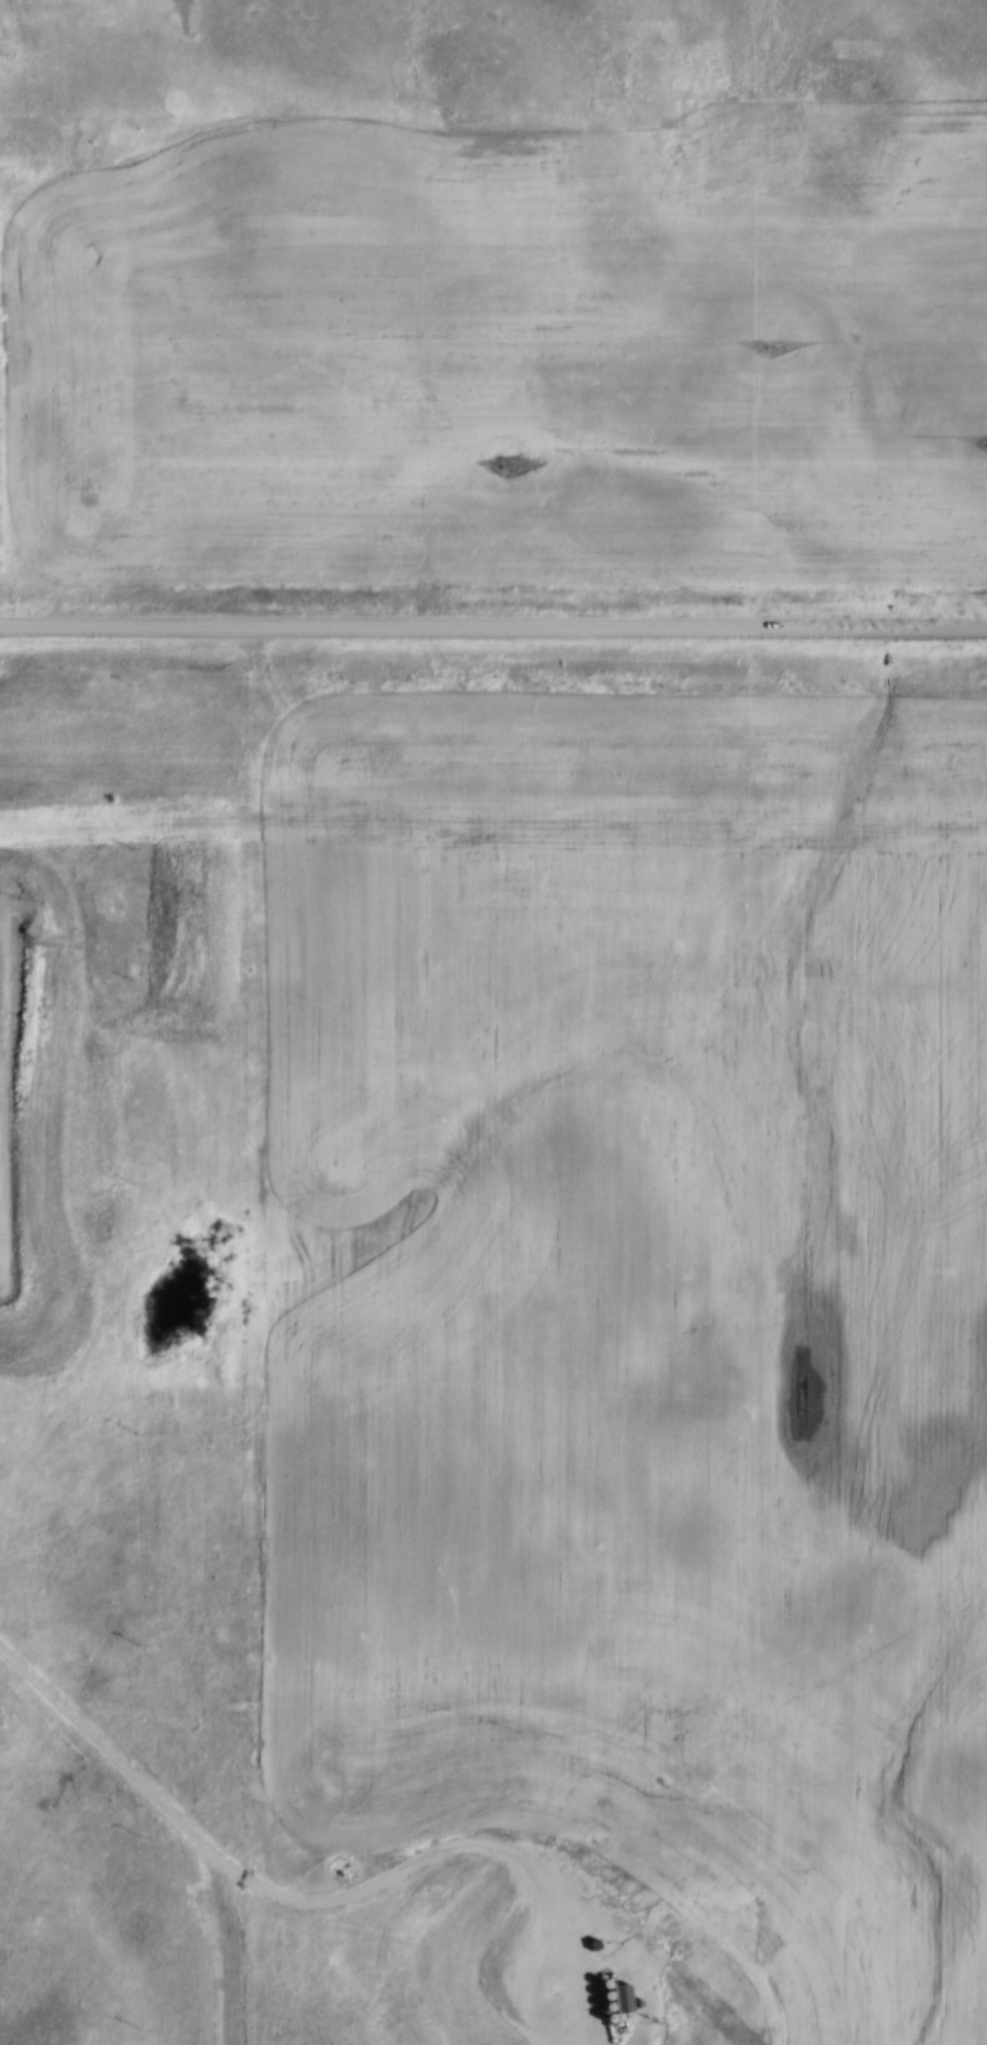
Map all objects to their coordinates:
road: (493, 631)
road: (232, 1874)
road: (623, 1933)
building: (591, 1942)
road: (550, 1952)
building: (609, 1975)
building: (617, 1996)
building: (635, 2001)
petroleum well: (559, 2022)

